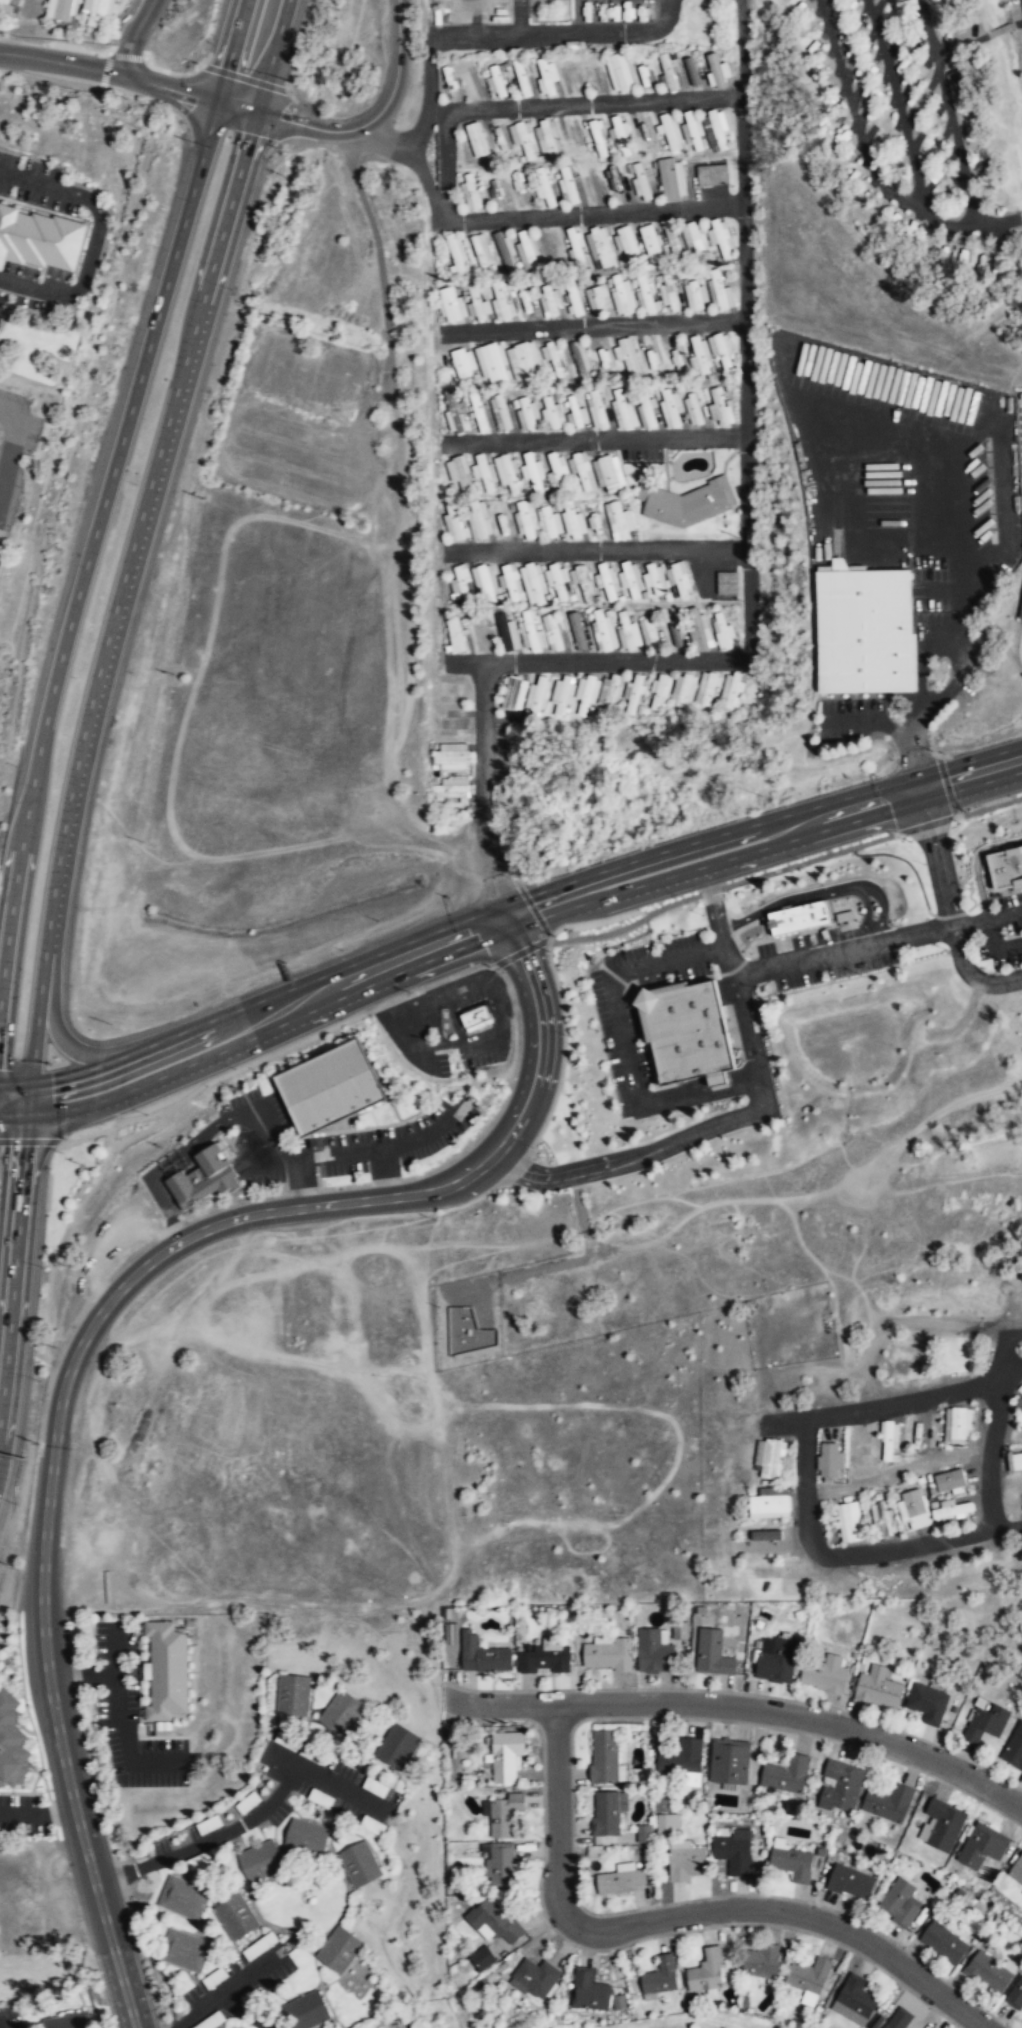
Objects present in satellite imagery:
building: (4, 1)
building: (31, 9)
building: (60, 9)
building: (96, 11)
parking lot: (474, 11)
road: (473, 17)
road: (518, 18)
road: (1017, 23)
road: (1000, 30)
road: (134, 36)
road: (497, 36)
road: (960, 45)
road: (76, 50)
road: (741, 50)
road: (126, 56)
road: (274, 56)
road: (59, 63)
road: (155, 68)
road: (104, 70)
road: (193, 70)
building: (689, 71)
building: (714, 71)
building: (665, 72)
building: (617, 73)
building: (545, 77)
road: (244, 78)
building: (470, 80)
building: (494, 81)
building: (958, 81)
road: (54, 82)
street lamp: (379, 87)
road: (187, 94)
road: (288, 94)
traffic signals: (216, 103)
road: (594, 103)
road: (898, 107)
road: (947, 112)
traffic signals: (258, 113)
street lamp: (326, 116)
road: (374, 116)
building: (669, 130)
building: (692, 130)
building: (716, 131)
road: (378, 134)
building: (619, 136)
building: (522, 138)
building: (547, 138)
building: (474, 139)
road: (864, 144)
road: (446, 166)
building: (710, 175)
road: (424, 179)
building: (671, 179)
building: (611, 180)
building: (515, 181)
building: (565, 186)
building: (542, 188)
building: (471, 191)
road: (594, 214)
road: (998, 220)
building: (693, 237)
building: (719, 237)
building: (39, 238)
road: (93, 238)
building: (624, 243)
building: (649, 243)
building: (599, 248)
building: (574, 249)
building: (480, 250)
building: (503, 250)
building: (526, 250)
building: (454, 254)
building: (719, 291)
building: (694, 294)
building: (621, 295)
building: (594, 297)
building: (645, 297)
building: (501, 301)
building: (548, 301)
building: (572, 302)
building: (474, 303)
building: (449, 305)
road: (594, 327)
building: (720, 350)
building: (626, 355)
building: (579, 359)
building: (523, 360)
building: (462, 363)
building: (491, 363)
building: (1021, 395)
building: (672, 408)
building: (720, 408)
building: (596, 409)
building: (647, 409)
building: (694, 409)
building: (624, 410)
building: (478, 411)
building: (499, 412)
building: (453, 413)
building: (553, 413)
building: (576, 413)
building: (528, 414)
road: (13, 437)
road: (596, 440)
parking lot: (15, 449)
road: (3, 457)
road: (955, 460)
building: (582, 470)
building: (532, 471)
building: (557, 471)
building: (459, 472)
building: (484, 472)
building: (506, 472)
building: (609, 473)
building: (688, 502)
road: (102, 509)
parking lot: (904, 509)
building: (527, 519)
building: (479, 520)
building: (619, 520)
building: (549, 521)
building: (573, 521)
building: (454, 524)
road: (748, 529)
road: (851, 530)
road: (138, 538)
road: (597, 550)
building: (654, 577)
building: (679, 577)
building: (631, 578)
building: (556, 579)
building: (510, 580)
building: (582, 580)
building: (606, 580)
building: (461, 581)
building: (484, 581)
building: (533, 582)
building: (725, 583)
building: (1020, 611)
building: (700, 629)
building: (577, 630)
building: (529, 631)
building: (552, 631)
building: (604, 631)
building: (628, 631)
building: (723, 631)
building: (863, 631)
building: (508, 632)
building: (648, 632)
building: (455, 634)
road: (1021, 647)
road: (955, 650)
building: (708, 687)
building: (661, 689)
building: (684, 689)
building: (733, 689)
building: (587, 692)
building: (611, 692)
building: (635, 692)
building: (514, 693)
building: (538, 693)
building: (563, 693)
road: (852, 719)
road: (907, 741)
building: (449, 756)
road: (481, 786)
building: (452, 789)
road: (988, 807)
road: (761, 823)
road: (926, 825)
road: (766, 849)
road: (808, 860)
road: (906, 861)
road: (976, 863)
road: (983, 867)
building: (1006, 868)
road: (517, 879)
street lamp: (822, 883)
road: (710, 891)
road: (970, 892)
road: (822, 894)
road: (995, 894)
street lamp: (763, 901)
road: (946, 904)
road: (8, 907)
traffic signals: (504, 908)
road: (532, 908)
road: (866, 914)
road: (949, 915)
road: (1004, 915)
building: (800, 916)
road: (508, 919)
street lamp: (891, 919)
road: (595, 922)
road: (969, 922)
road: (769, 926)
road: (626, 927)
traffic signals: (512, 930)
parking lot: (1000, 931)
road: (924, 932)
road: (789, 934)
street lamp: (676, 935)
road: (622, 941)
street lamp: (812, 941)
street lamp: (617, 948)
road: (994, 948)
street lamp: (946, 949)
road: (519, 952)
parking lot: (827, 954)
road: (815, 956)
road: (733, 970)
road: (612, 974)
road: (314, 981)
road: (608, 985)
street lamp: (754, 987)
road: (635, 990)
road: (641, 1010)
building: (475, 1017)
road: (963, 1019)
parking lot: (450, 1023)
parking lot: (619, 1026)
road: (34, 1027)
road: (270, 1030)
street lamp: (597, 1031)
building: (688, 1031)
road: (60, 1037)
road: (564, 1050)
road: (277, 1051)
street lamp: (767, 1057)
road: (78, 1074)
road: (707, 1077)
road: (379, 1081)
road: (14, 1085)
traffic signals: (29, 1085)
building: (328, 1086)
road: (506, 1095)
road: (700, 1095)
road: (27, 1102)
street lamp: (724, 1108)
road: (247, 1110)
road: (747, 1115)
road: (13, 1118)
traffic signals: (26, 1119)
road: (930, 1119)
road: (219, 1123)
road: (375, 1127)
road: (143, 1131)
road: (33, 1141)
parking lot: (387, 1142)
street lamp: (625, 1143)
road: (368, 1148)
road: (288, 1154)
road: (172, 1155)
road: (320, 1156)
road: (299, 1159)
road: (181, 1161)
road: (384, 1173)
building: (202, 1177)
road: (385, 1181)
road: (323, 1183)
road: (343, 1186)
road: (301, 1191)
road: (232, 1202)
road: (167, 1212)
road: (173, 1226)
road: (60, 1244)
road: (15, 1253)
road: (135, 1275)
road: (91, 1297)
building: (467, 1331)
building: (373, 1363)
building: (1019, 1407)
building: (956, 1426)
building: (889, 1440)
road: (996, 1442)
building: (773, 1459)
building: (829, 1460)
building: (1014, 1461)
road: (902, 1477)
building: (949, 1481)
road: (810, 1499)
building: (769, 1507)
building: (913, 1509)
building: (951, 1511)
building: (882, 1519)
building: (850, 1523)
building: (182, 1526)
building: (330, 1532)
building: (765, 1535)
building: (189, 1621)
building: (679, 1631)
road: (115, 1649)
building: (653, 1650)
building: (607, 1653)
building: (712, 1654)
building: (482, 1655)
building: (545, 1656)
building: (775, 1660)
building: (166, 1668)
building: (824, 1675)
building: (878, 1689)
building: (292, 1693)
street lamp: (27, 1699)
building: (927, 1704)
road: (746, 1708)
road: (117, 1711)
building: (341, 1713)
building: (985, 1724)
building: (11, 1740)
building: (397, 1748)
building: (1014, 1751)
building: (505, 1756)
building: (604, 1756)
building: (681, 1758)
building: (728, 1763)
building: (786, 1775)
street lamp: (47, 1781)
road: (327, 1781)
building: (375, 1787)
building: (841, 1787)
building: (319, 1798)
building: (888, 1802)
building: (659, 1805)
building: (606, 1815)
building: (502, 1816)
building: (666, 1823)
road: (237, 1825)
building: (370, 1825)
building: (941, 1826)
building: (644, 1835)
building: (306, 1837)
building: (981, 1848)
building: (734, 1852)
building: (260, 1860)
building: (686, 1861)
building: (792, 1863)
building: (359, 1864)
building: (500, 1866)
road: (126, 1871)
building: (1016, 1872)
building: (621, 1881)
building: (849, 1881)
building: (1021, 1893)
building: (182, 1899)
building: (899, 1904)
road: (682, 1915)
building: (234, 1918)
building: (497, 1924)
building: (942, 1942)
building: (183, 1950)
building: (339, 1950)
road: (115, 1953)
street lamp: (90, 1954)
building: (480, 1958)
building: (761, 1962)
building: (987, 1972)
building: (706, 1973)
building: (535, 1978)
building: (660, 1979)
building: (808, 1979)
road: (230, 1989)
building: (588, 1992)
building: (1015, 1995)
building: (854, 2001)
building: (306, 2011)
road: (243, 2012)
building: (898, 2019)
building: (68, 2020)
road: (0, 2027)

